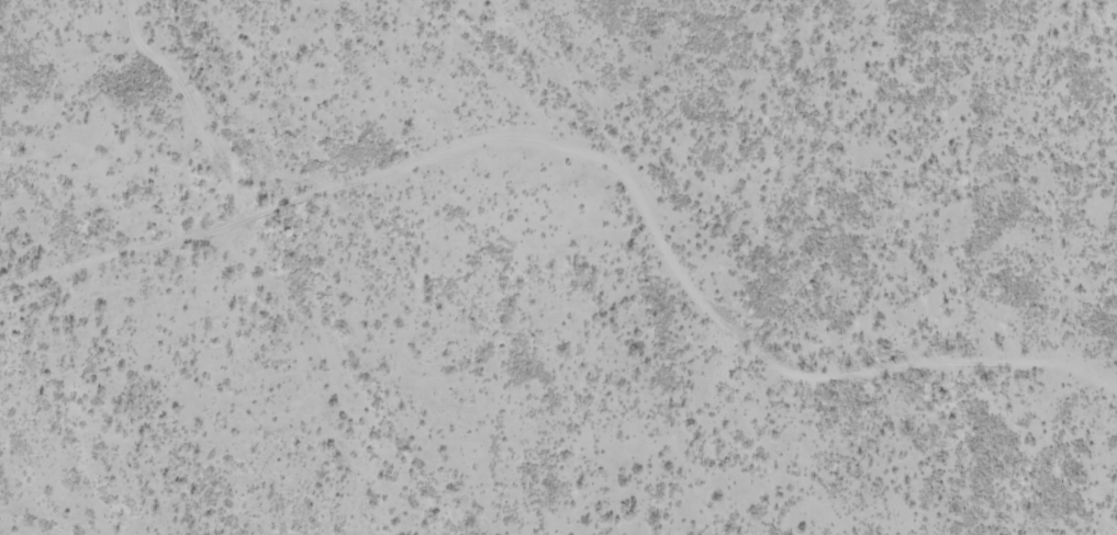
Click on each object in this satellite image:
road: (407, 149)
road: (815, 181)
road: (752, 322)

